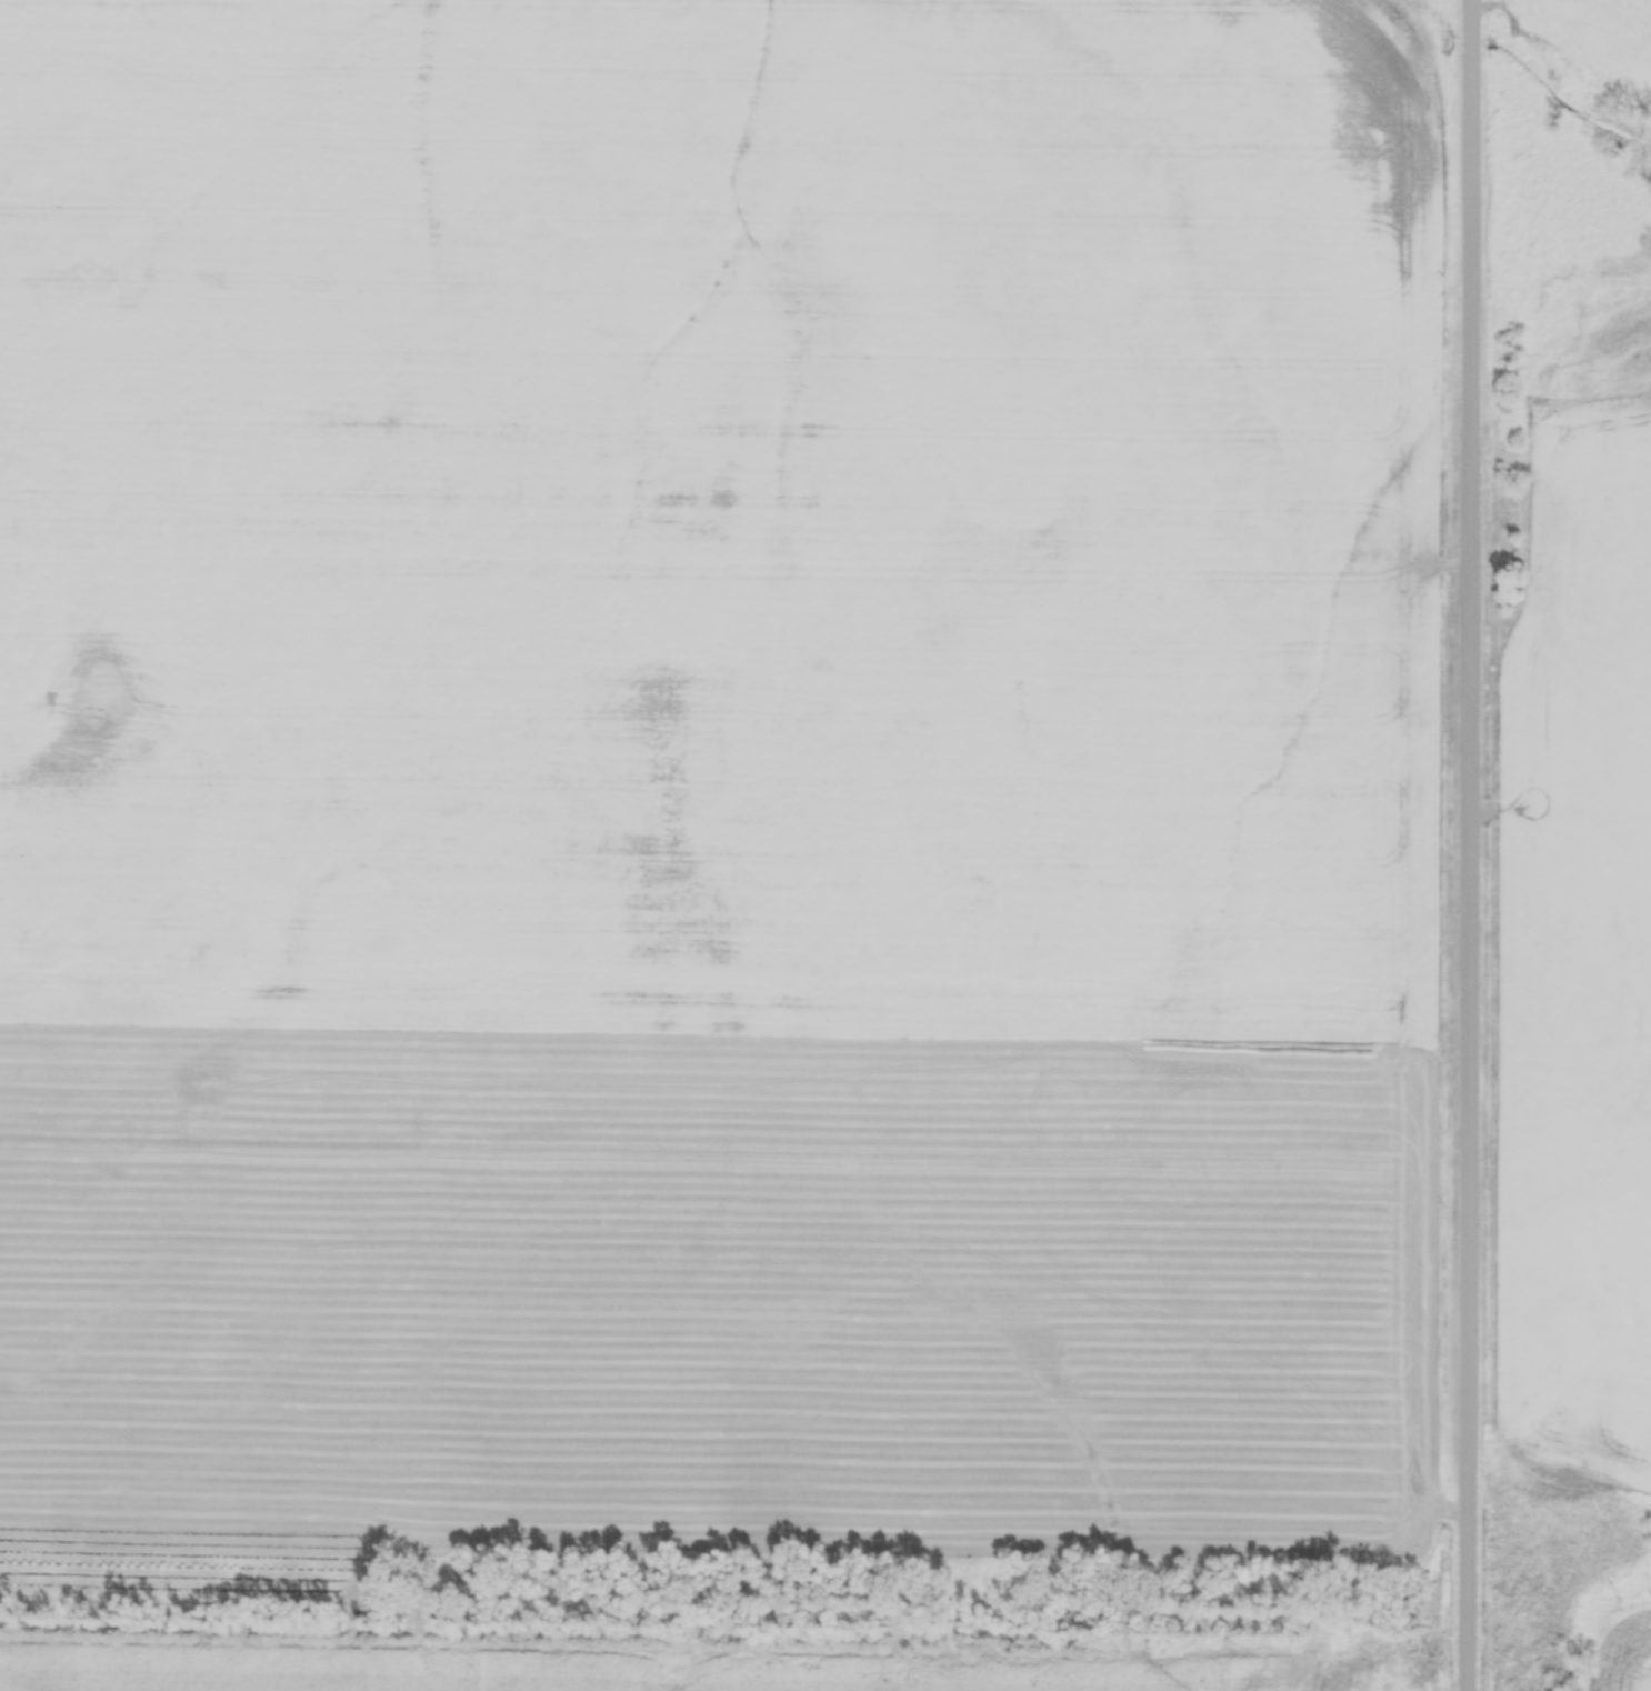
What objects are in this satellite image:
road: (1473, 845)

